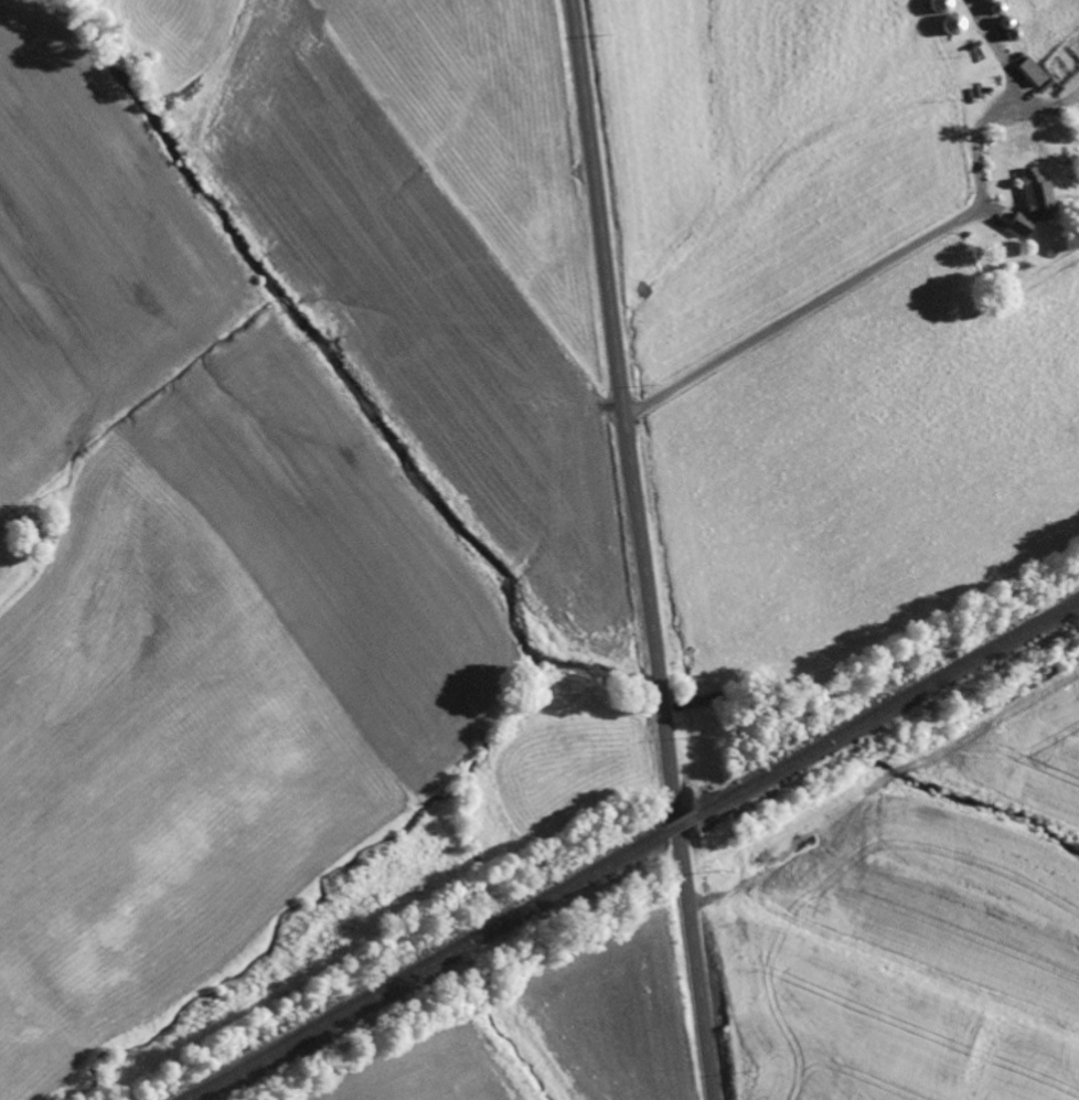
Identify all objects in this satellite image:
building: (932, 7)
building: (946, 25)
building: (1027, 74)
building: (1022, 186)
road: (873, 296)
road: (641, 549)
railway: (885, 708)
railway: (676, 825)
railway: (424, 966)

